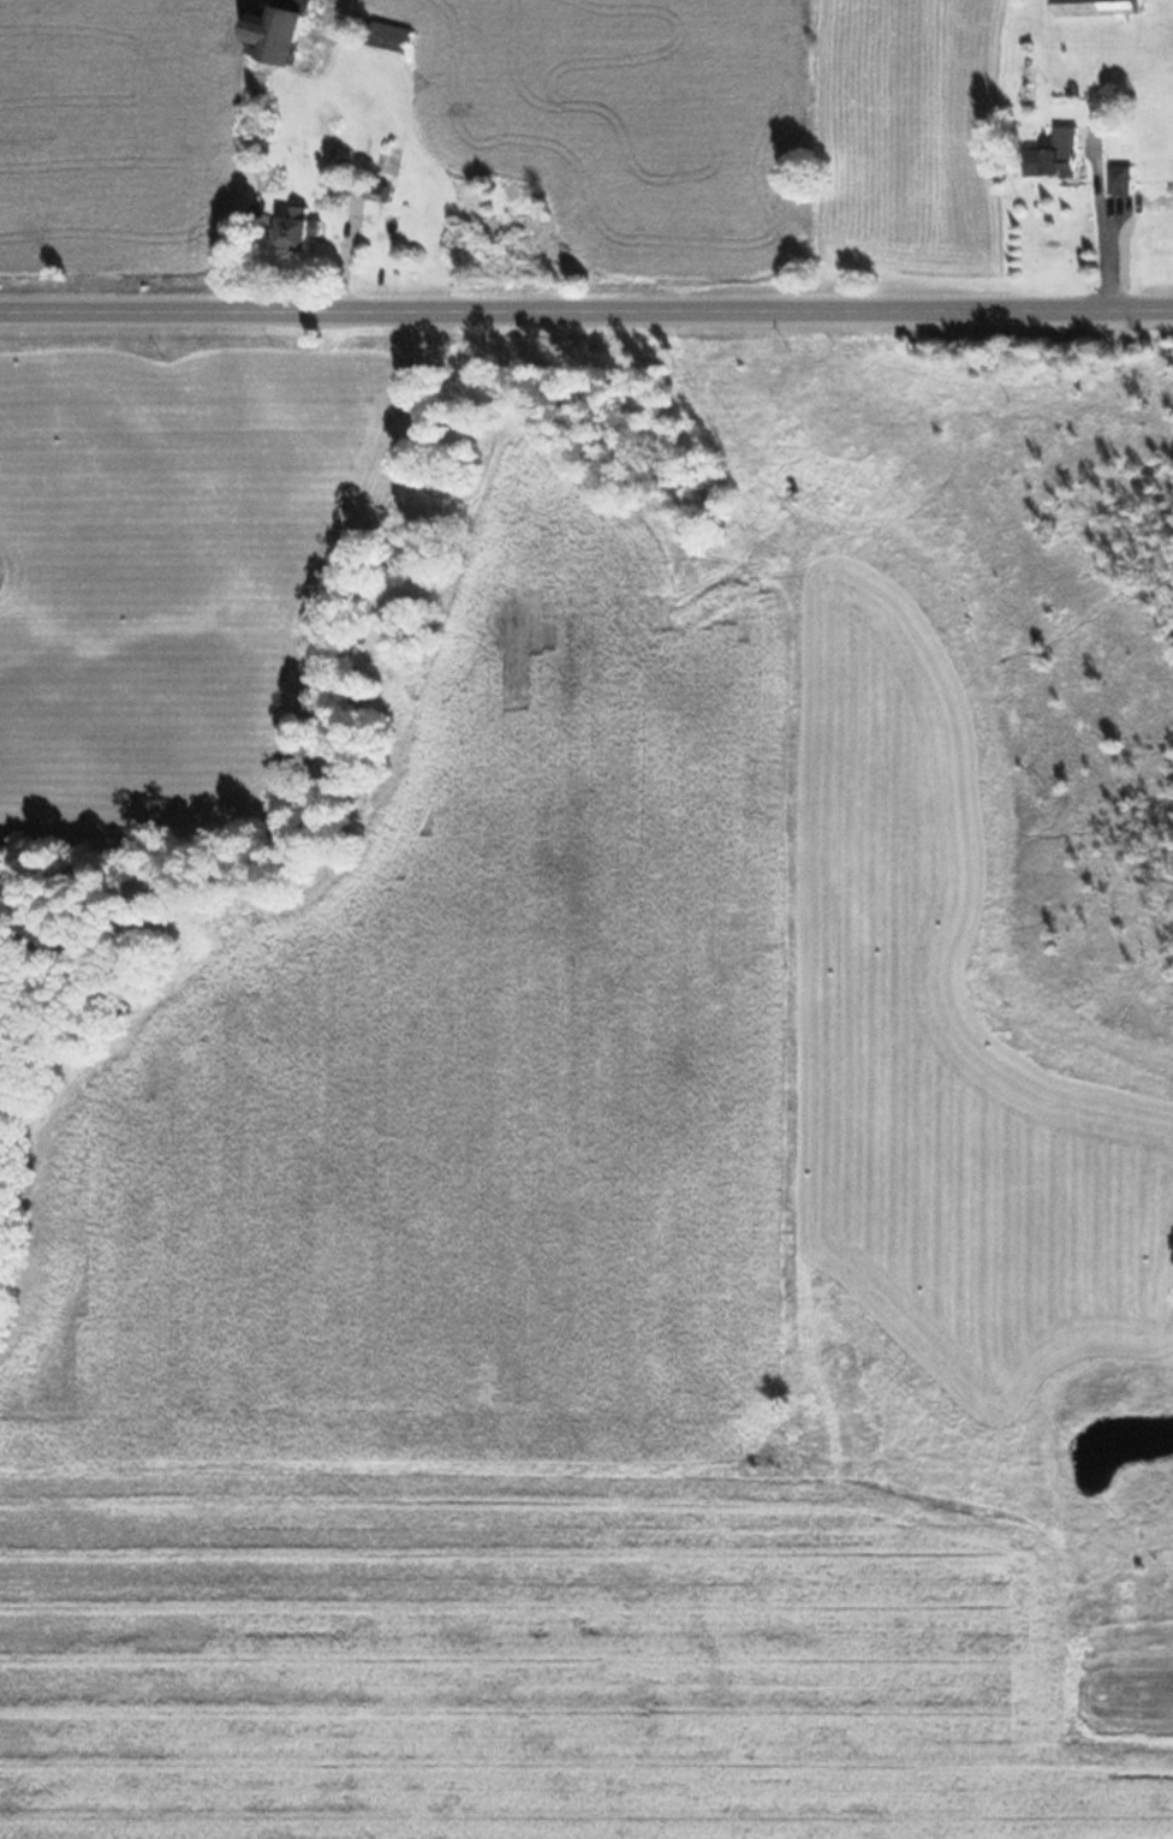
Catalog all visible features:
building: (1095, 7)
building: (275, 32)
building: (389, 36)
building: (324, 117)
building: (1049, 160)
building: (377, 190)
building: (297, 227)
road: (586, 313)

